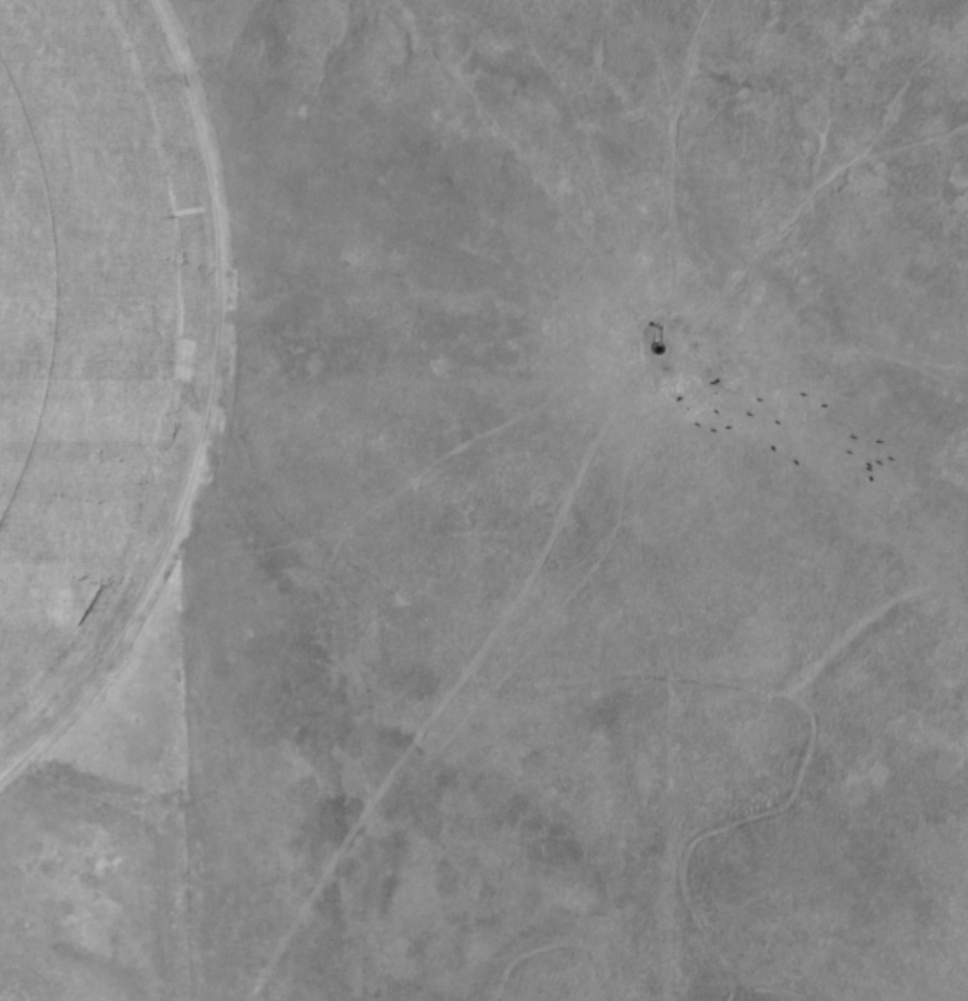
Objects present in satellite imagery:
crop: (88, 331)

